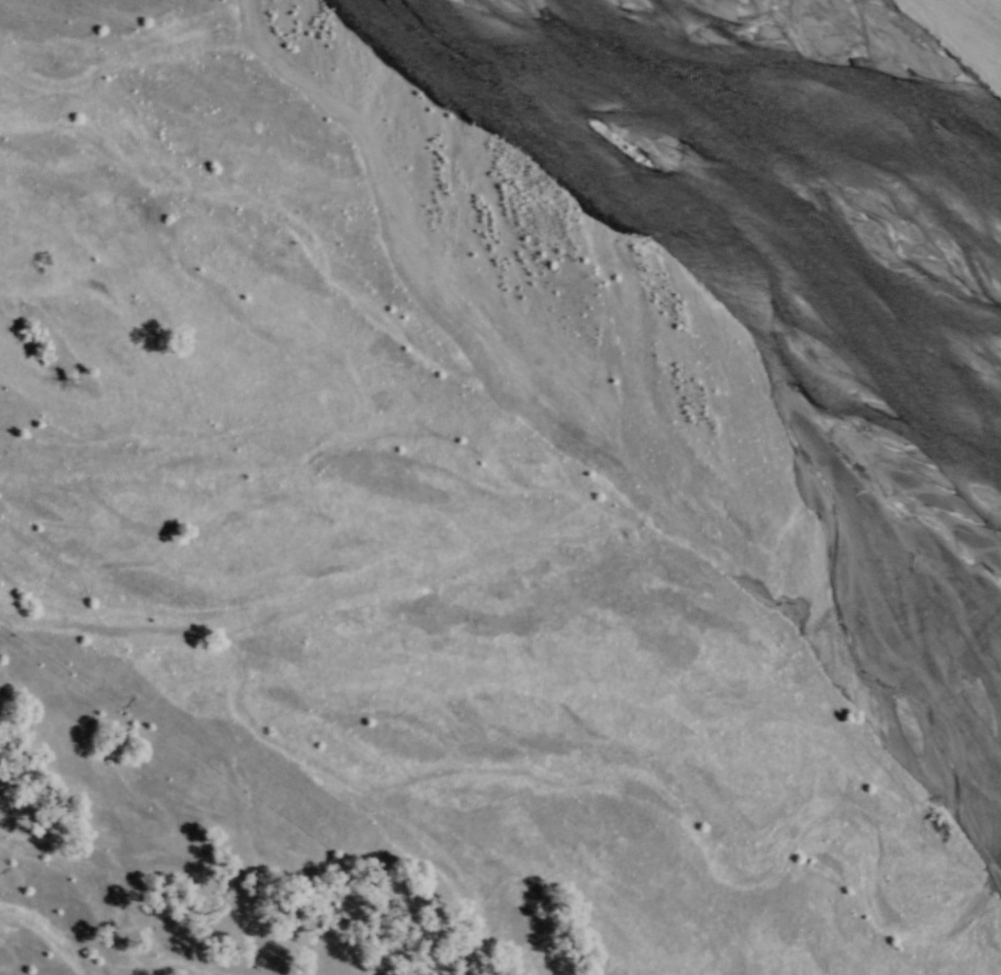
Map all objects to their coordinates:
river: (880, 138)

